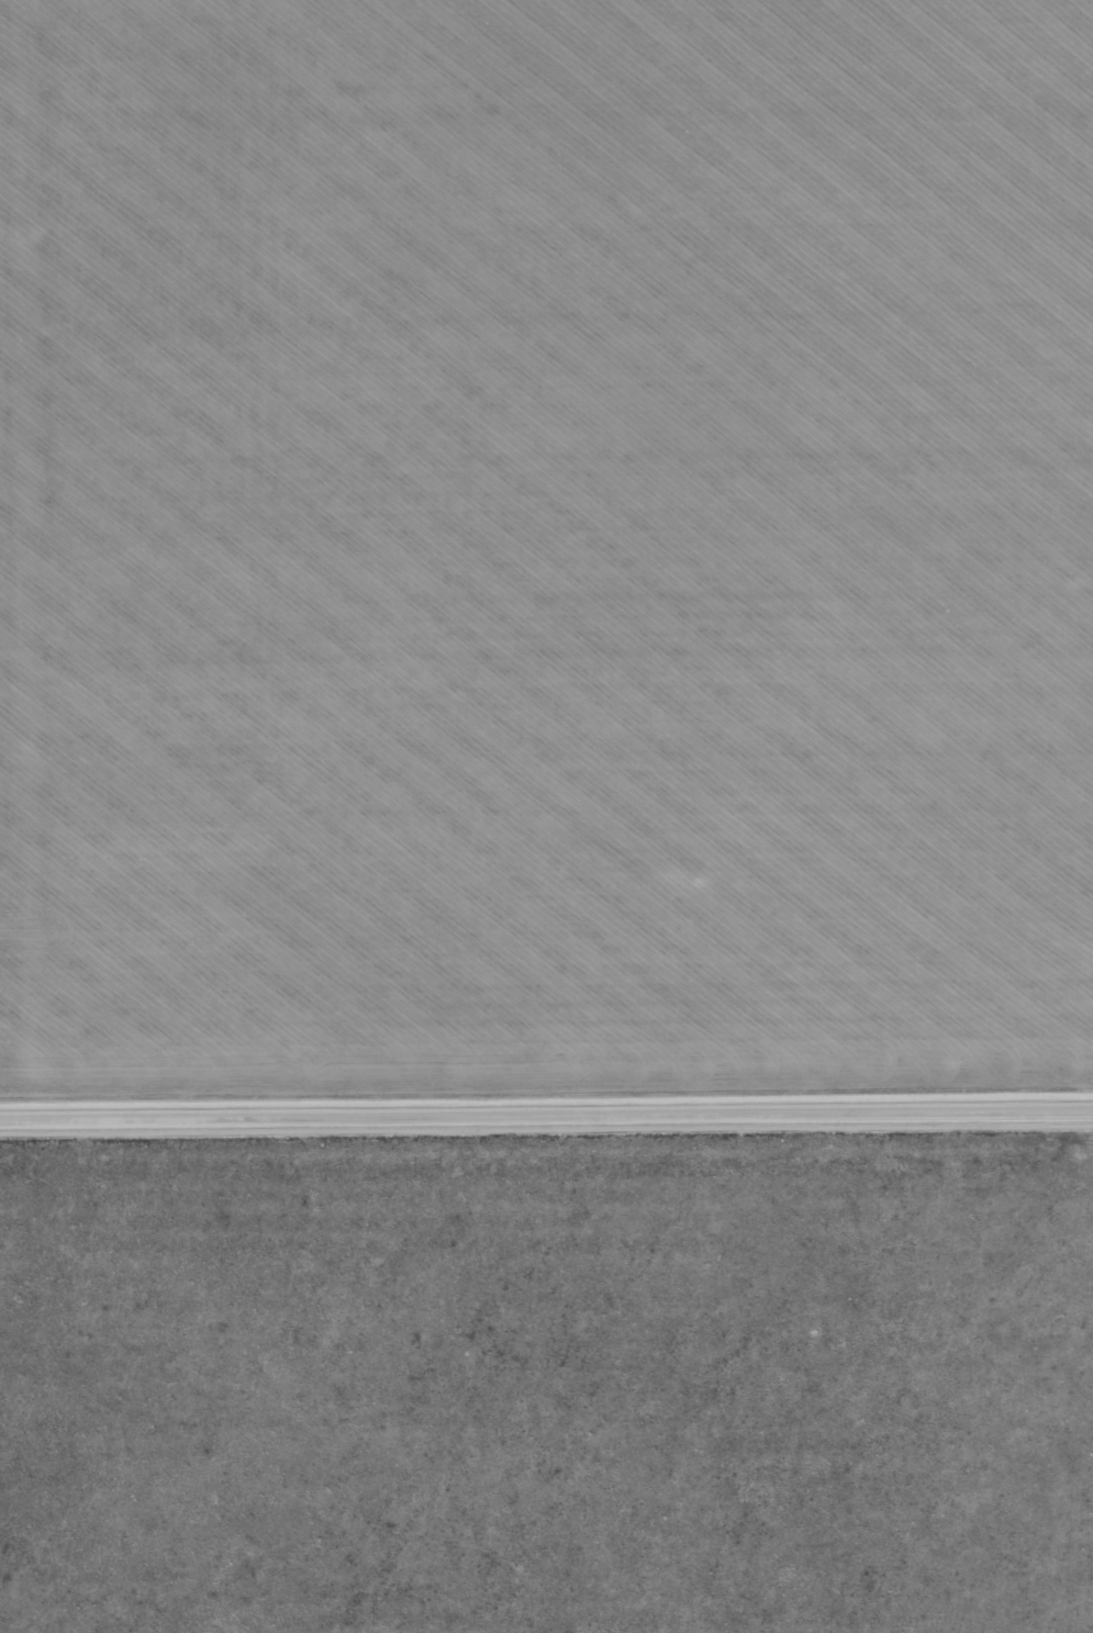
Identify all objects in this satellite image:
road: (546, 1137)

